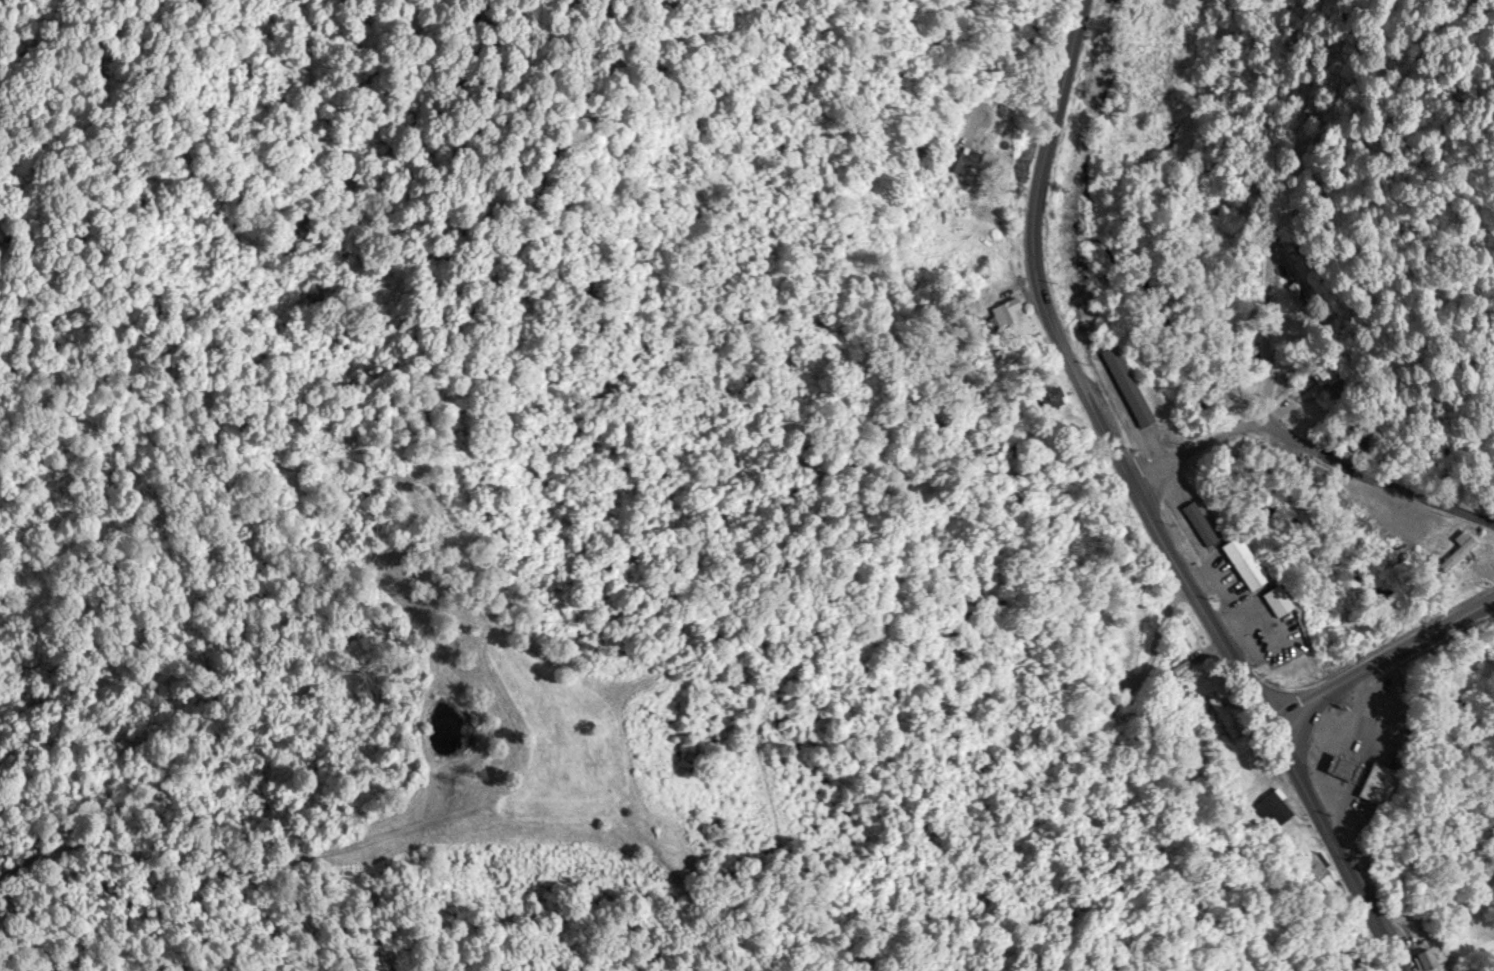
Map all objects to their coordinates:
building: (958, 160)
road: (1035, 189)
road: (1189, 224)
building: (1303, 294)
building: (1322, 375)
building: (1126, 385)
building: (1049, 396)
building: (1349, 436)
road: (1314, 445)
building: (1198, 523)
building: (1452, 548)
building: (1243, 562)
building: (1275, 600)
road: (1383, 659)
road: (1242, 670)
building: (1169, 681)
building: (1341, 768)
building: (1376, 783)
building: (1275, 804)
building: (1312, 863)
building: (1421, 960)

